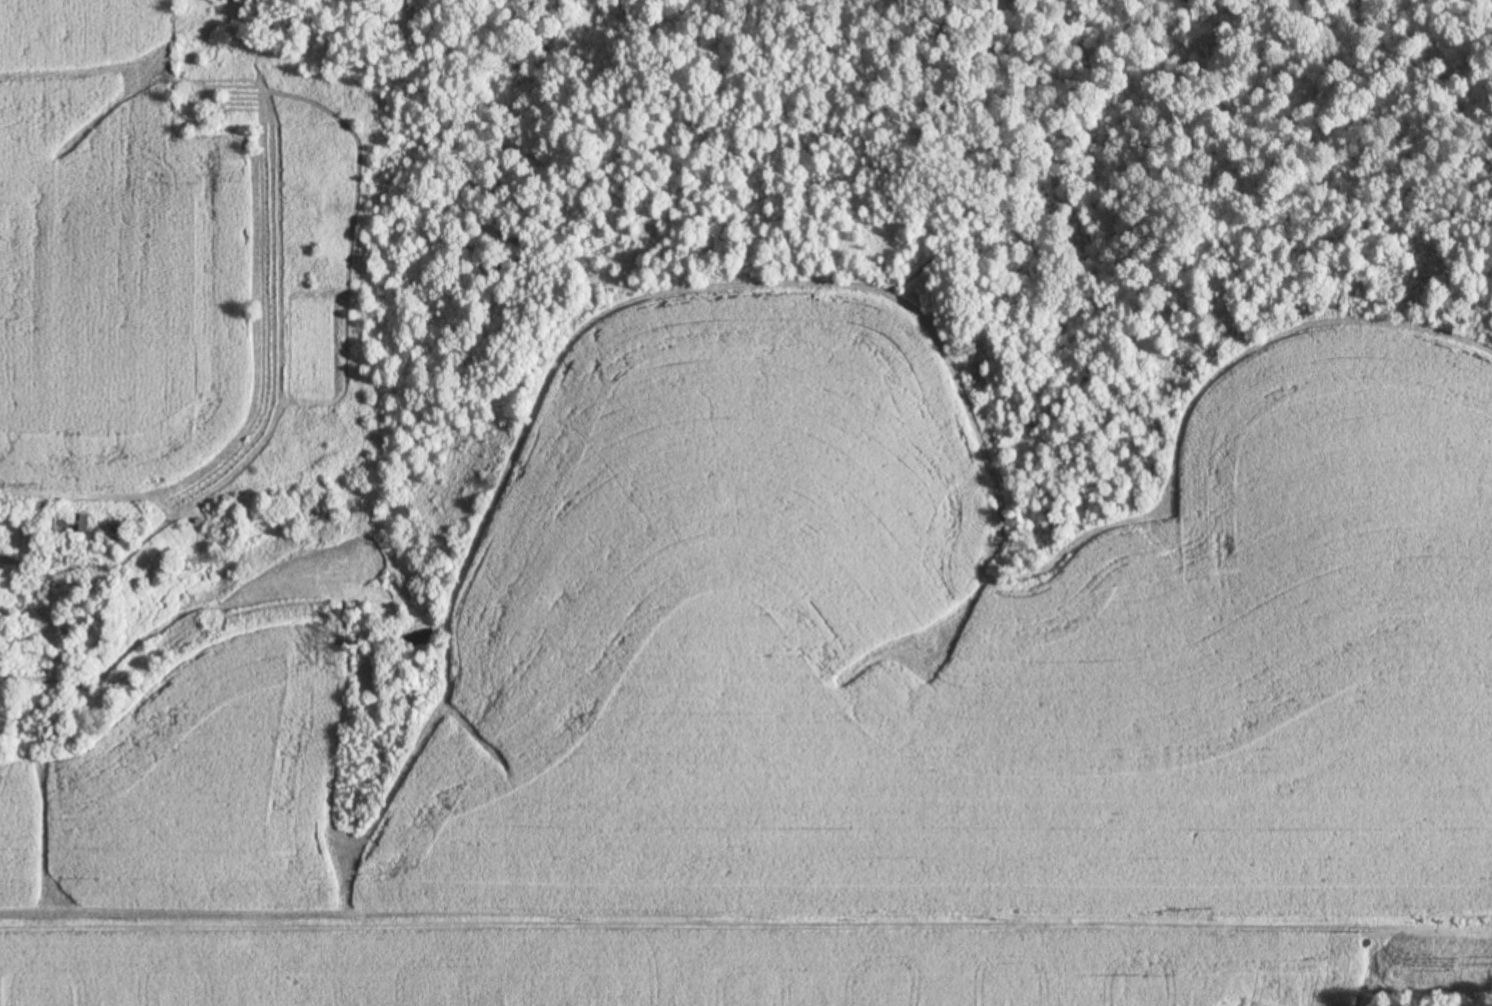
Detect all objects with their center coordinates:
building: (56, 521)
building: (79, 522)

